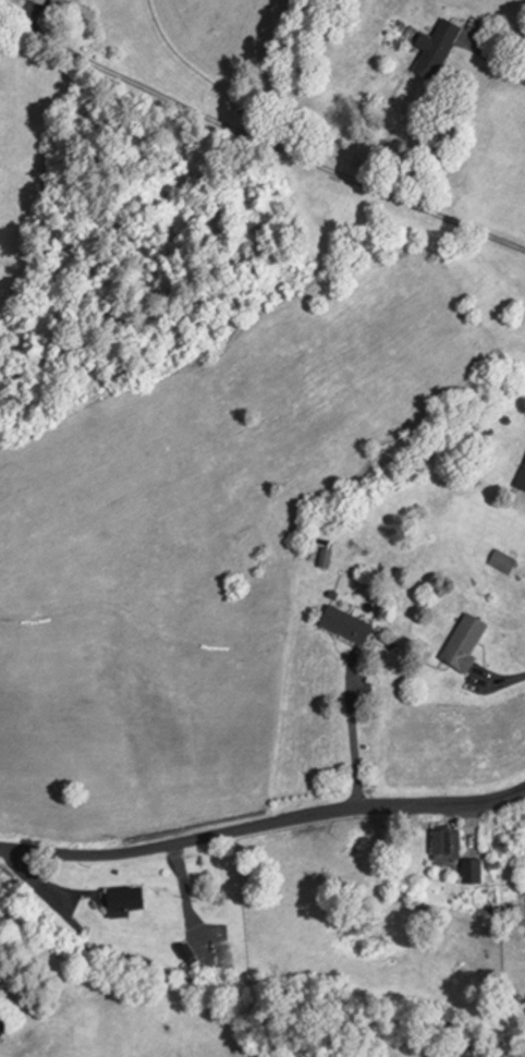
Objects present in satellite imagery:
building: (39, 1)
building: (59, 3)
building: (436, 46)
road: (498, 64)
road: (273, 146)
building: (521, 476)
road: (523, 502)
building: (322, 558)
building: (500, 560)
building: (342, 623)
building: (460, 642)
road: (497, 681)
road: (351, 726)
road: (262, 825)
building: (441, 847)
building: (524, 867)
building: (468, 871)
road: (36, 884)
building: (122, 900)
road: (186, 902)

